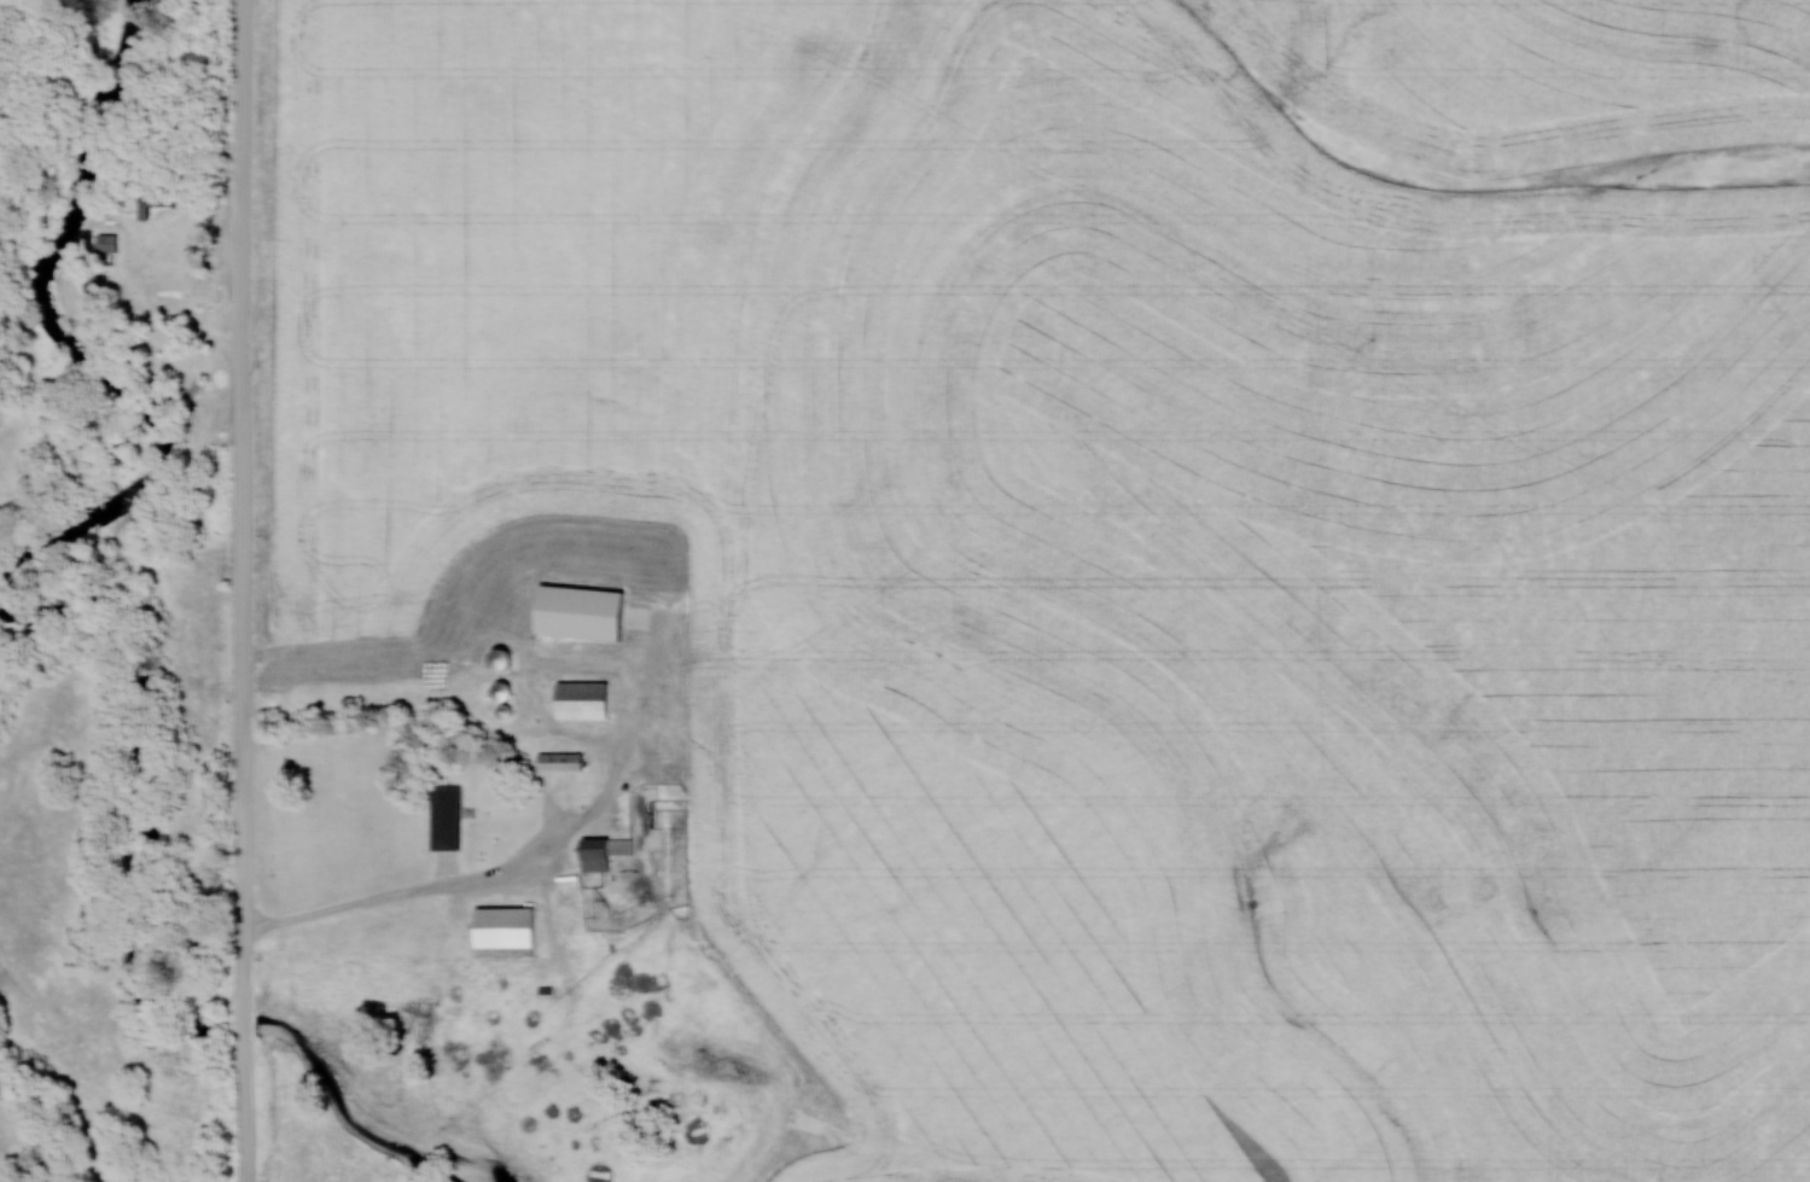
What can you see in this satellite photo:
park: (124, 92)
road: (249, 93)
building: (158, 202)
building: (198, 389)
building: (574, 612)
building: (491, 659)
road: (246, 685)
building: (494, 692)
building: (577, 699)
building: (555, 761)
building: (441, 816)
building: (596, 851)
road: (565, 858)
road: (380, 903)
building: (497, 926)

